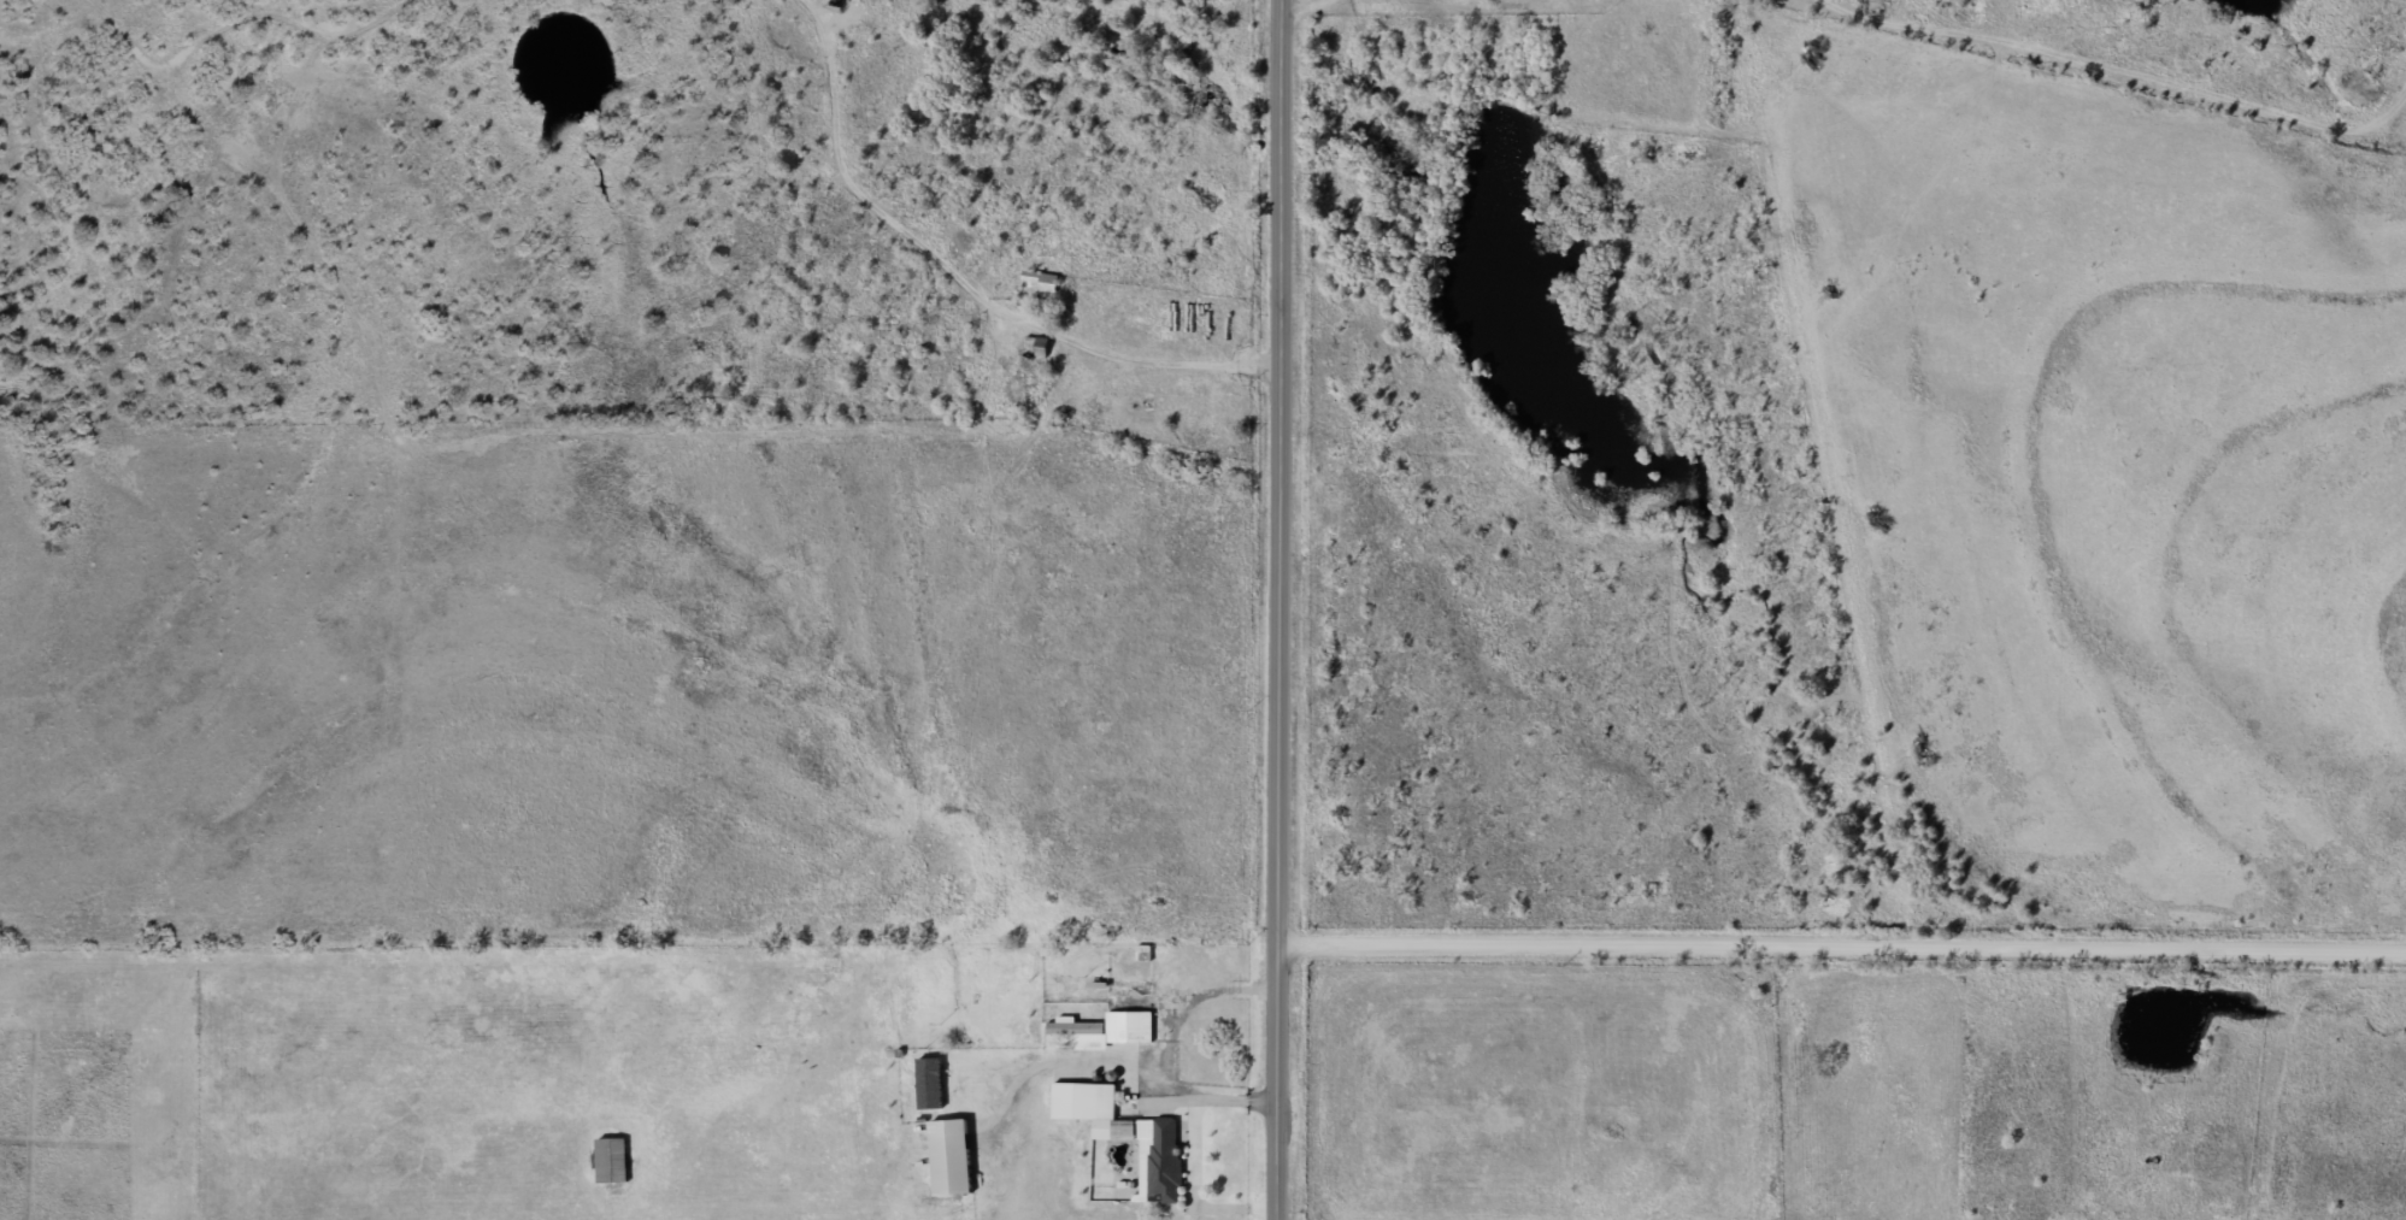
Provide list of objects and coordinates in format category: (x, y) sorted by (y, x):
road: (1307, 8)
road: (2118, 70)
building: (1041, 279)
road: (1286, 609)
road: (1845, 945)
building: (1129, 1026)
building: (1160, 1156)
building: (951, 1157)
building: (612, 1160)

